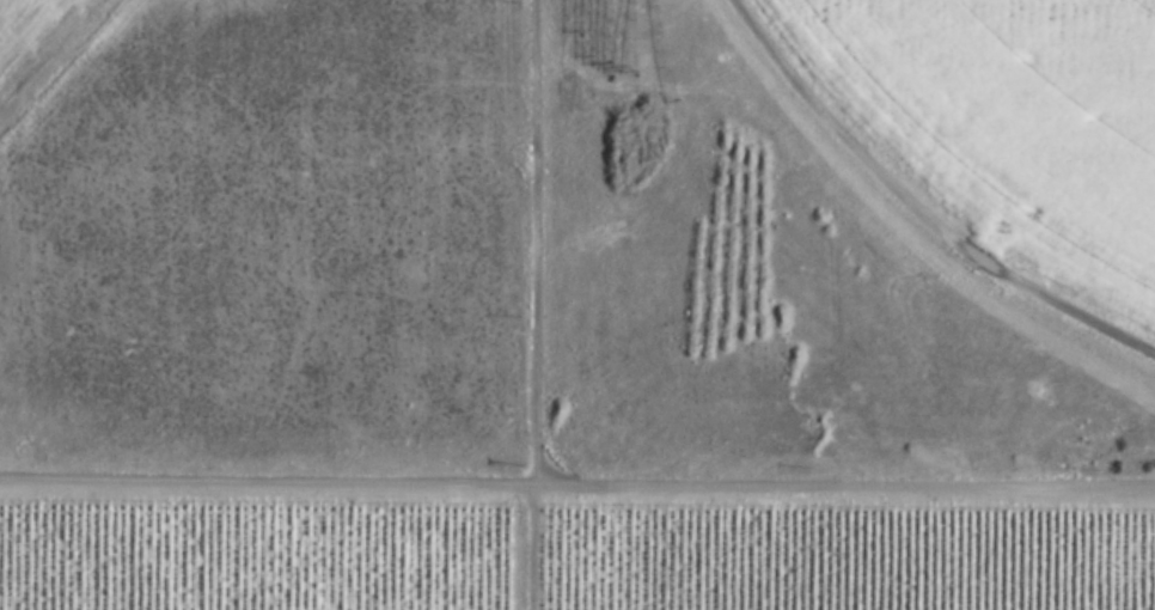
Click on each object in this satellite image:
crop: (24, 29)
crop: (1006, 138)

